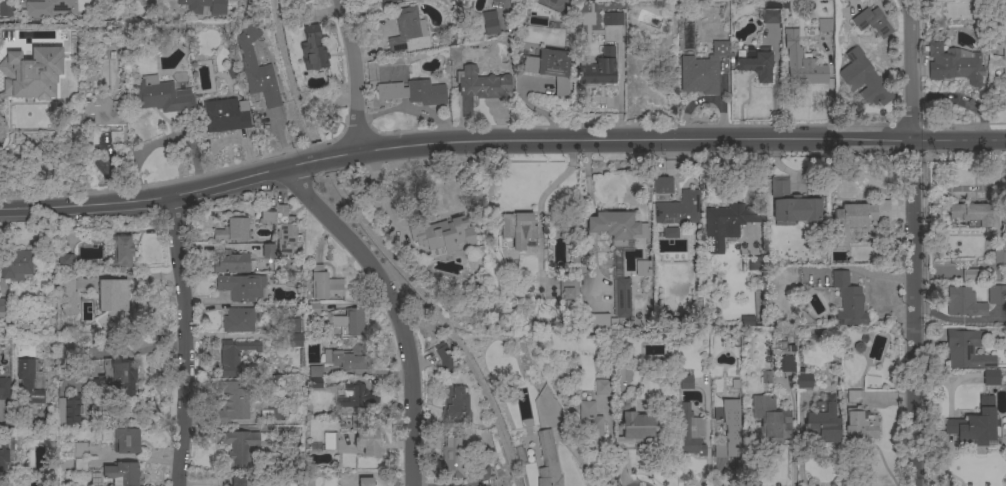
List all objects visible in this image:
building: (389, 0)
building: (498, 1)
building: (204, 5)
building: (551, 5)
building: (47, 8)
building: (6, 9)
building: (771, 17)
building: (616, 19)
building: (872, 22)
building: (489, 23)
building: (825, 25)
building: (406, 28)
building: (688, 36)
building: (313, 49)
building: (1004, 62)
building: (801, 63)
building: (756, 64)
building: (954, 65)
building: (597, 67)
building: (549, 68)
building: (256, 69)
road: (911, 69)
building: (702, 71)
building: (31, 74)
road: (356, 74)
building: (864, 79)
building: (482, 84)
road: (620, 88)
road: (775, 88)
building: (414, 92)
building: (159, 96)
building: (103, 111)
building: (225, 116)
building: (331, 123)
road: (0, 125)
road: (499, 141)
building: (663, 185)
road: (381, 194)
building: (791, 205)
building: (678, 209)
building: (971, 214)
building: (851, 220)
building: (728, 223)
building: (617, 227)
building: (232, 230)
building: (282, 230)
building: (519, 231)
building: (670, 233)
building: (443, 234)
building: (268, 251)
building: (119, 252)
building: (999, 252)
building: (63, 261)
building: (233, 263)
building: (511, 263)
building: (754, 263)
building: (16, 264)
building: (642, 269)
building: (970, 275)
building: (324, 284)
building: (241, 287)
building: (568, 288)
building: (997, 295)
building: (67, 296)
building: (623, 298)
building: (848, 300)
building: (114, 301)
building: (963, 303)
road: (400, 307)
building: (4, 308)
road: (913, 312)
building: (805, 319)
building: (240, 320)
building: (595, 321)
building: (747, 321)
building: (350, 323)
building: (292, 325)
road: (188, 339)
building: (295, 340)
building: (966, 349)
building: (346, 358)
building: (237, 359)
building: (443, 359)
building: (784, 364)
building: (622, 375)
building: (117, 377)
building: (314, 378)
building: (764, 378)
building: (991, 378)
building: (804, 379)
building: (29, 381)
building: (686, 382)
building: (603, 388)
building: (4, 389)
building: (854, 396)
building: (356, 397)
building: (232, 402)
building: (455, 406)
building: (69, 410)
building: (771, 419)
building: (823, 421)
building: (976, 424)
building: (859, 425)
building: (590, 426)
building: (635, 428)
building: (728, 429)
building: (691, 432)
building: (365, 436)
building: (126, 441)
building: (330, 441)
building: (240, 447)
building: (3, 456)
building: (452, 457)
building: (80, 458)
building: (547, 461)
building: (481, 471)
building: (122, 474)
building: (238, 480)
building: (366, 482)

